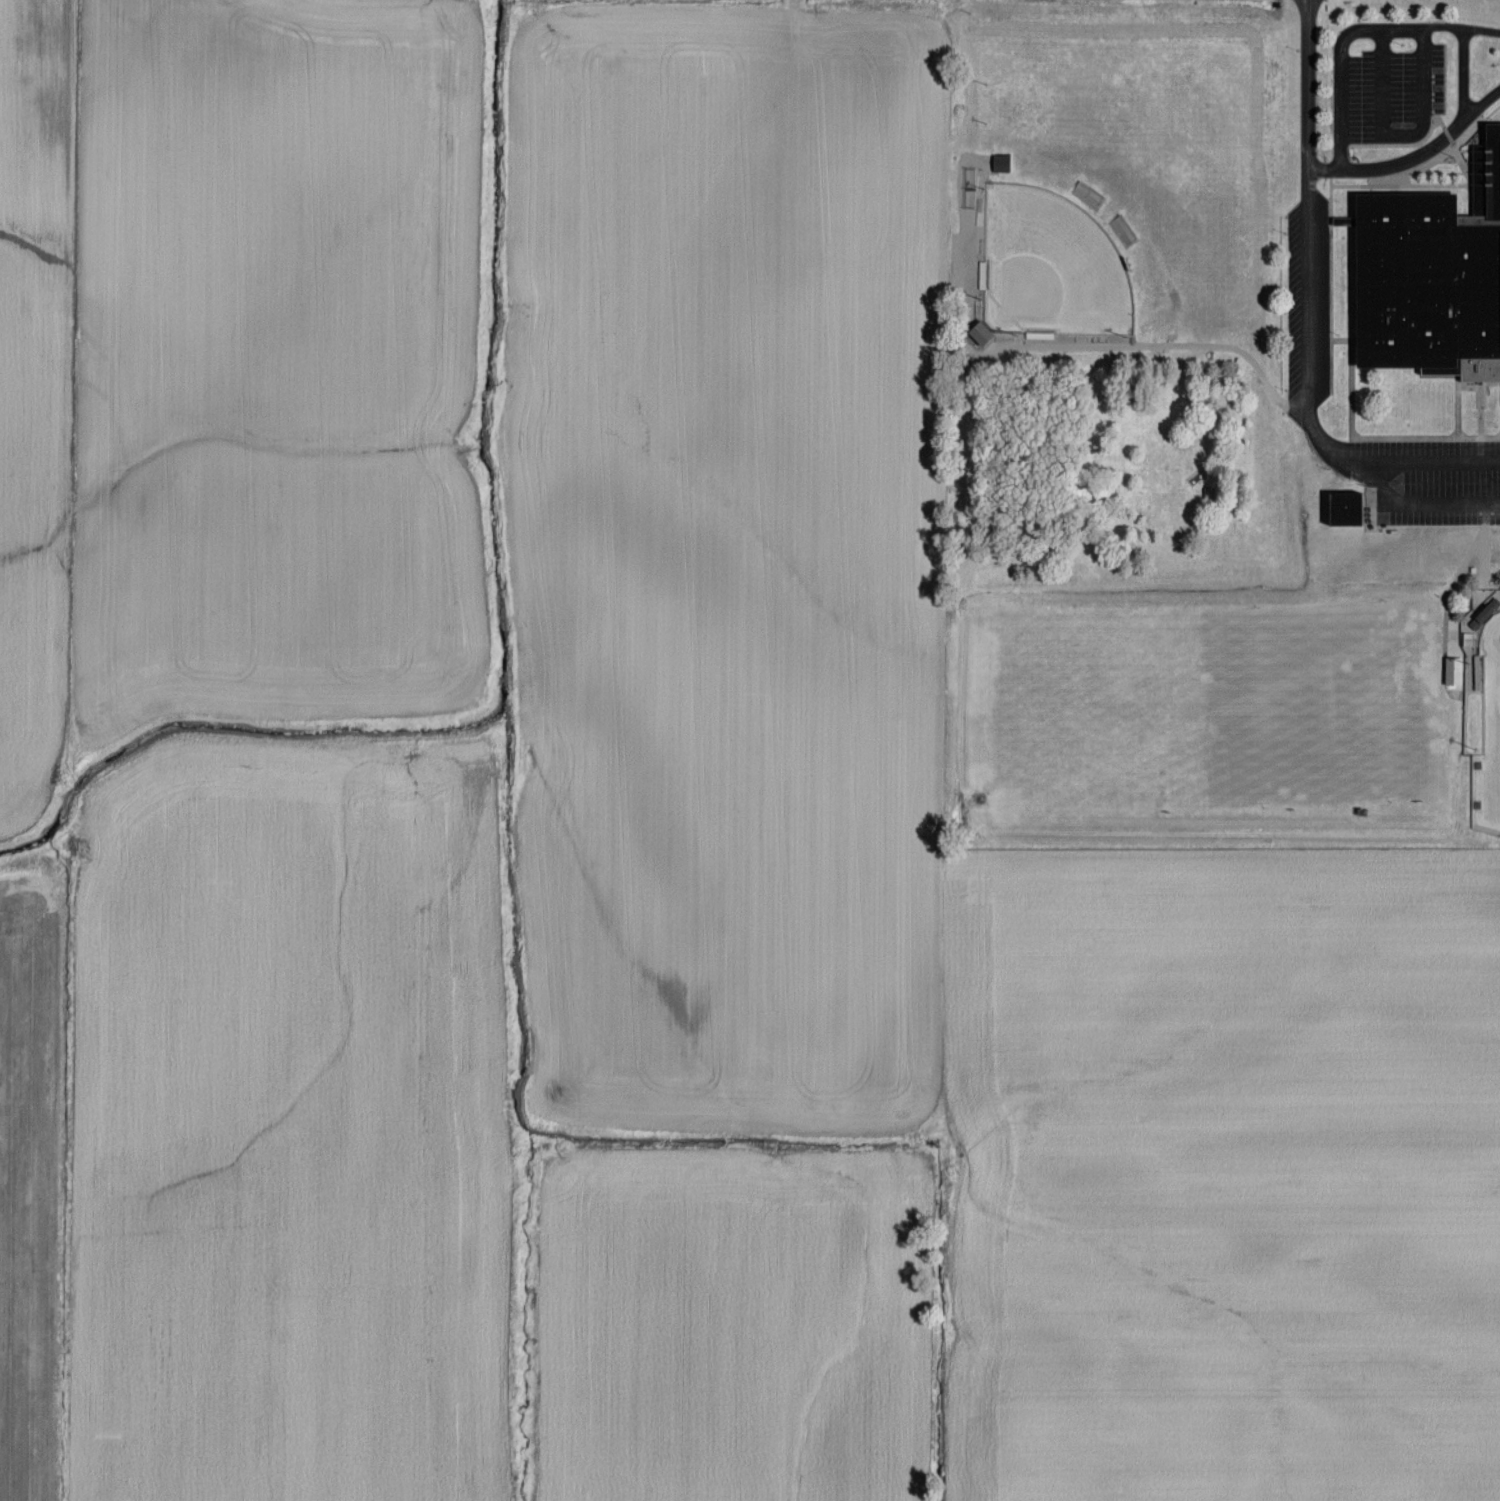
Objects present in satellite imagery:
road: (1354, 31)
road: (1413, 159)
building: (1428, 283)
road: (1304, 313)
road: (1168, 346)
building: (1342, 510)

